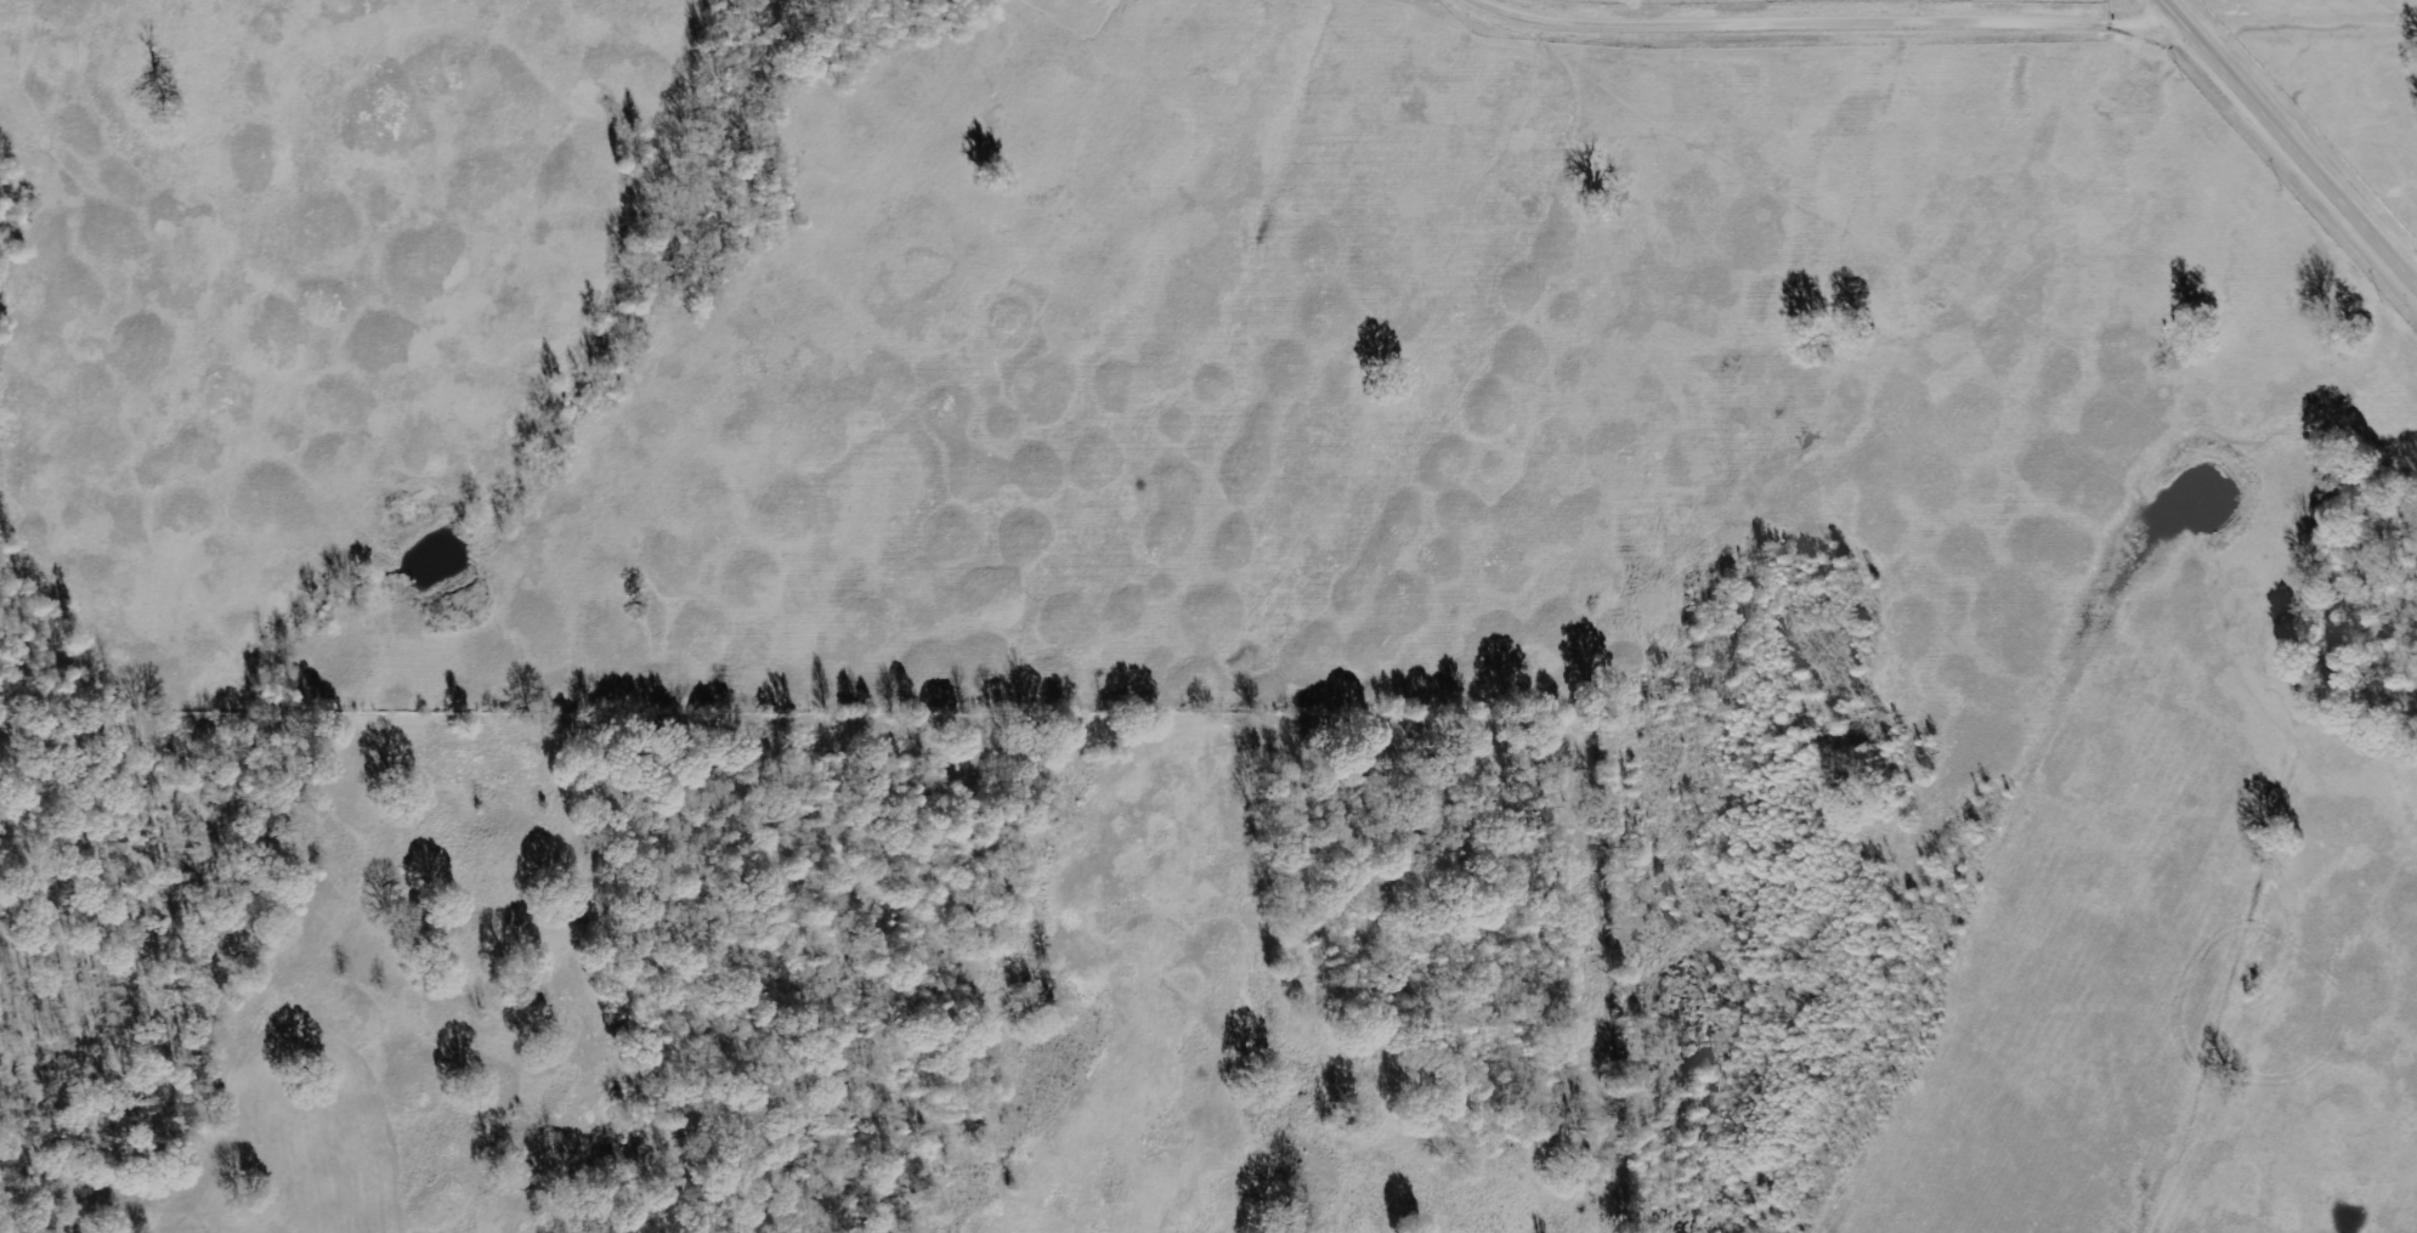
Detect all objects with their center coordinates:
road: (1974, 12)
road: (1947, 24)
road: (2289, 138)
park: (2377, 611)

